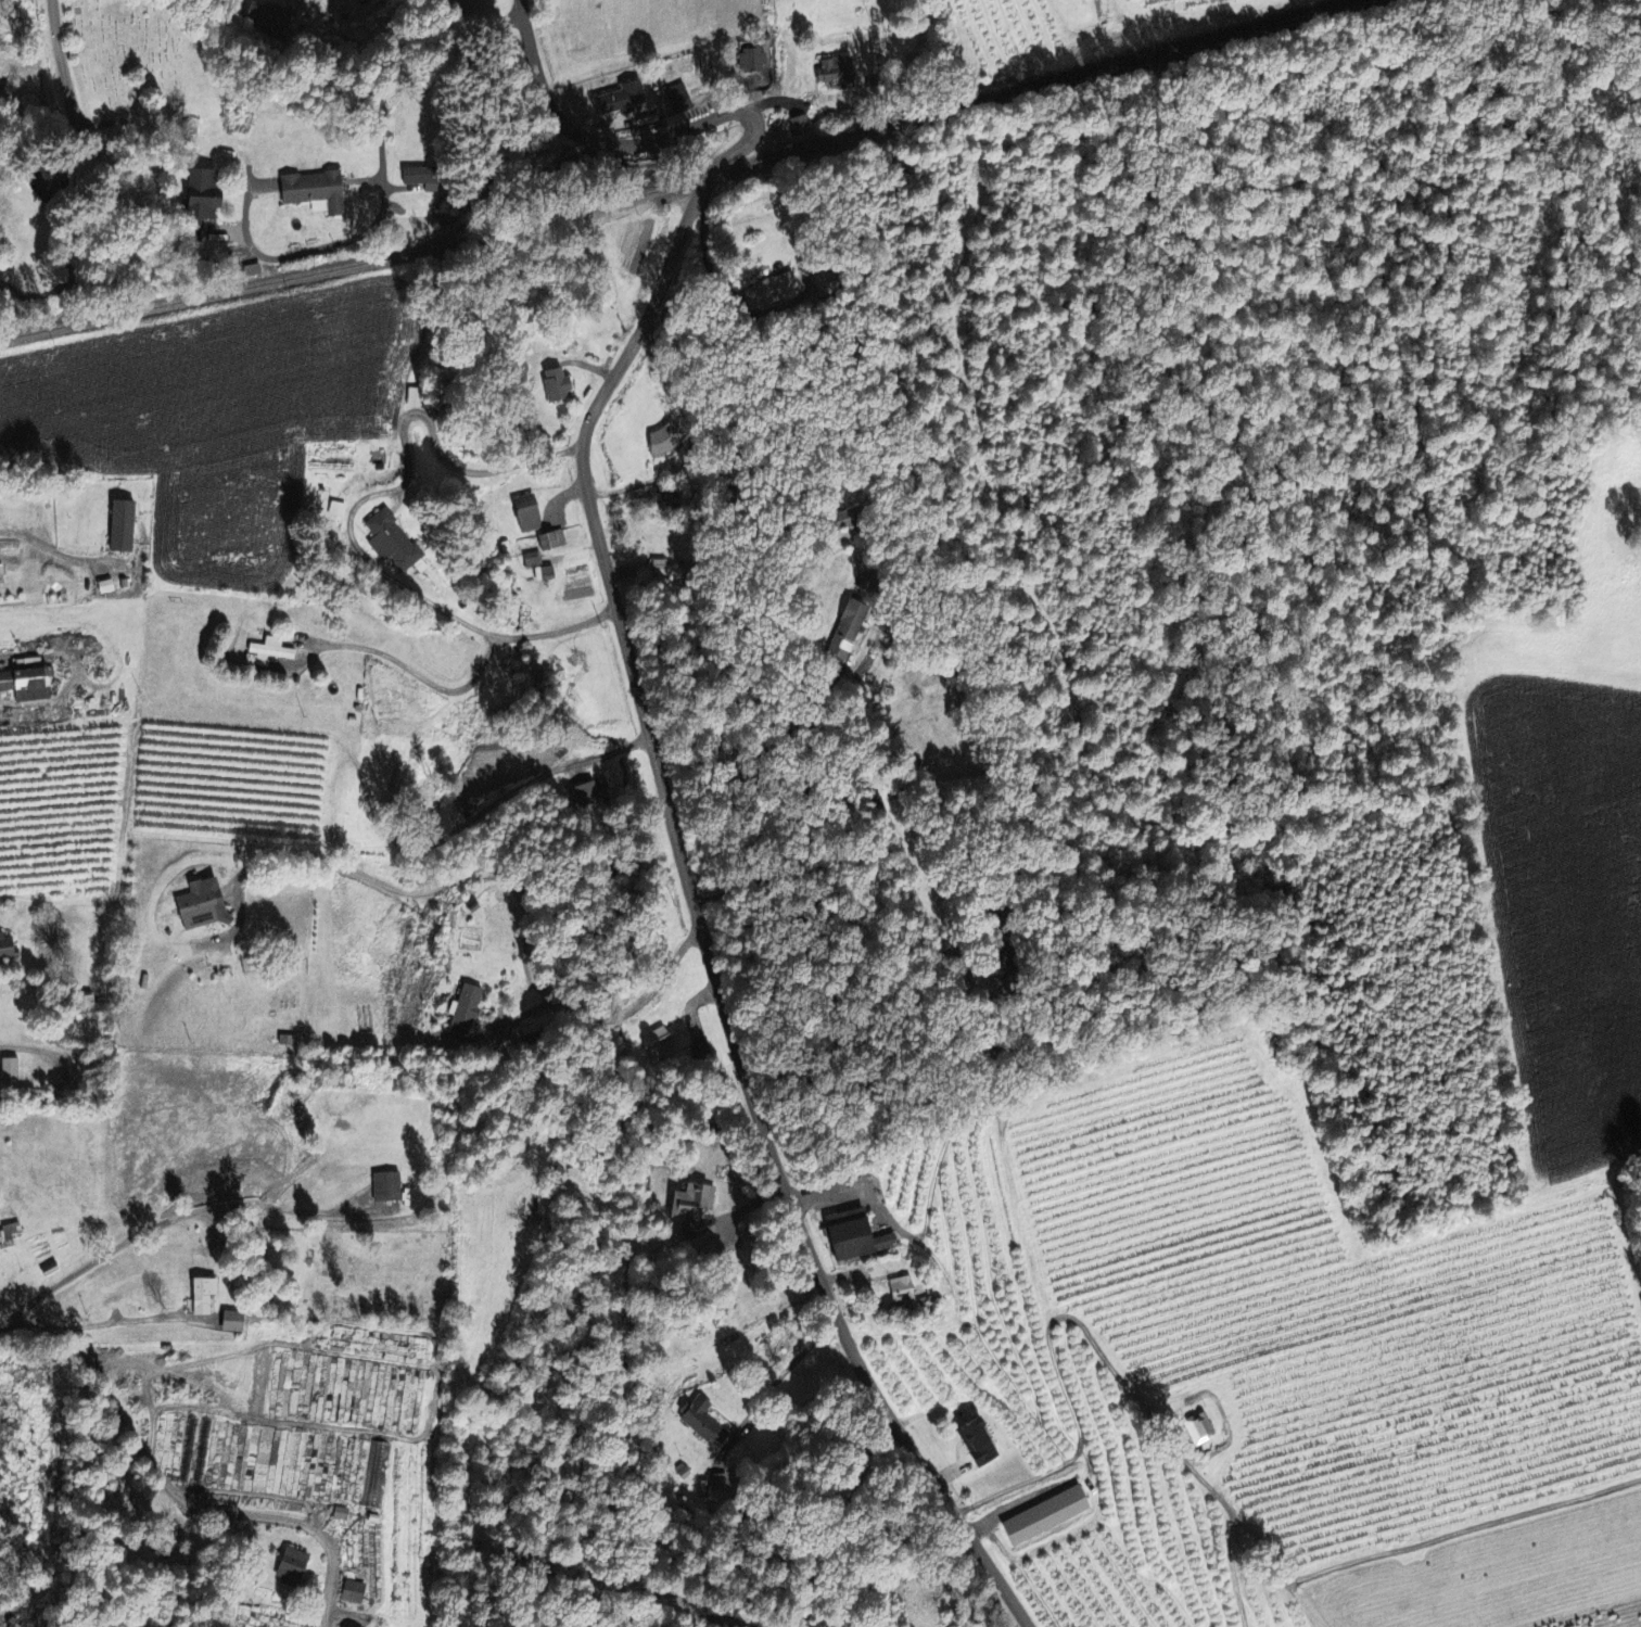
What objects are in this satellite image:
building: (269, 18)
park: (138, 55)
road: (63, 56)
building: (752, 62)
building: (837, 74)
building: (622, 100)
building: (679, 100)
building: (799, 126)
road: (361, 157)
building: (414, 177)
railway: (687, 180)
building: (313, 193)
building: (200, 194)
building: (824, 279)
building: (774, 292)
building: (556, 384)
building: (665, 441)
building: (665, 498)
building: (526, 514)
road: (339, 526)
building: (120, 527)
building: (391, 544)
road: (54, 549)
building: (670, 571)
building: (270, 651)
road: (625, 652)
road: (395, 682)
building: (26, 686)
road: (800, 697)
building: (24, 717)
road: (524, 901)
building: (200, 907)
building: (8, 951)
road: (38, 1005)
building: (465, 1012)
road: (893, 1031)
building: (289, 1041)
building: (660, 1044)
road: (24, 1047)
building: (10, 1070)
building: (386, 1187)
building: (694, 1202)
road: (181, 1215)
building: (12, 1230)
building: (855, 1238)
building: (905, 1294)
building: (203, 1296)
road: (1059, 1319)
road: (130, 1320)
building: (231, 1322)
road: (819, 1369)
building: (703, 1423)
building: (1200, 1429)
building: (977, 1441)
road: (170, 1484)
building: (374, 1496)
building: (341, 1514)
building: (1045, 1516)
road: (1372, 1558)
building: (292, 1567)
road: (993, 1569)
building: (353, 1592)

